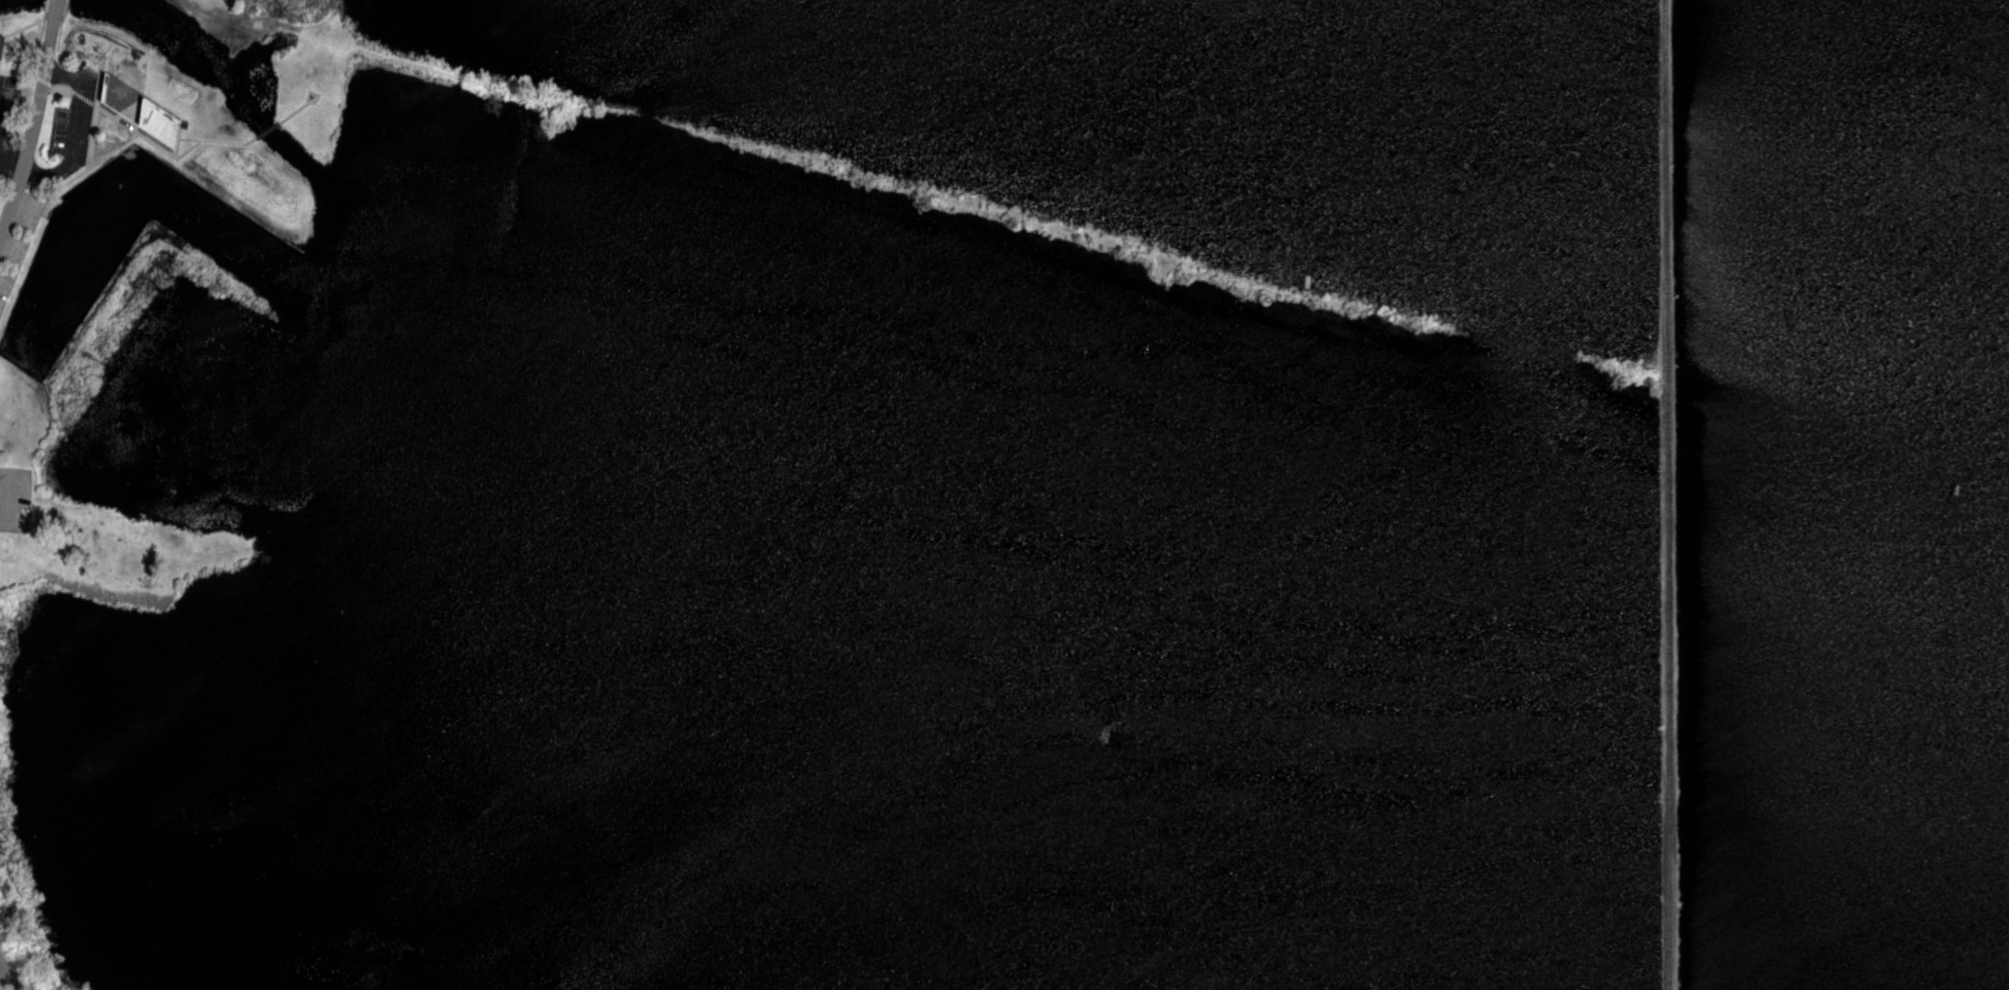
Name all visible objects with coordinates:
road: (44, 8)
road: (56, 10)
road: (13, 34)
building: (1, 42)
road: (63, 76)
parking lot: (97, 80)
building: (103, 86)
parking lot: (6, 101)
road: (293, 111)
building: (156, 117)
road: (32, 126)
road: (268, 128)
parking lot: (71, 133)
road: (141, 138)
road: (67, 144)
road: (8, 179)
railway: (1668, 494)
road: (7, 495)
park: (1004, 495)
parking lot: (14, 497)
road: (2, 523)
road: (8, 973)
road: (16, 983)

